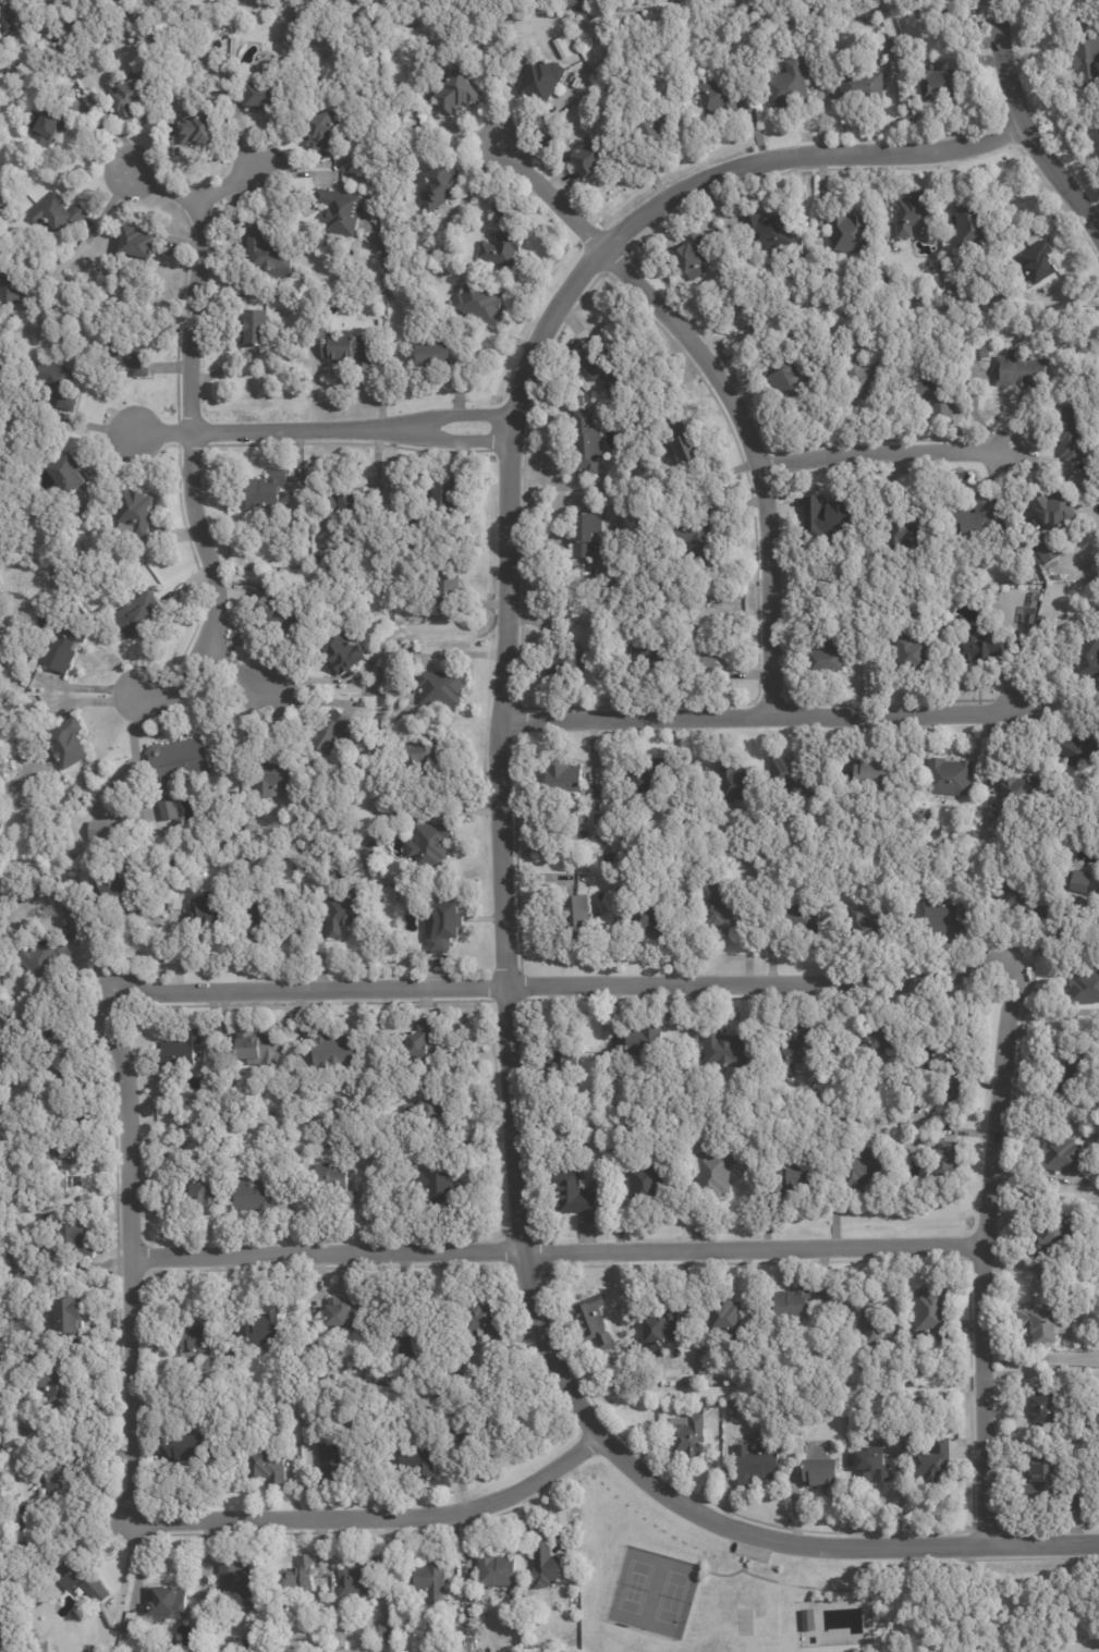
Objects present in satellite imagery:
building: (574, 1)
building: (1, 4)
building: (746, 4)
building: (1094, 19)
building: (3, 23)
building: (58, 38)
building: (563, 46)
building: (1086, 60)
building: (545, 79)
building: (941, 82)
building: (787, 85)
building: (865, 86)
building: (460, 91)
building: (719, 94)
building: (134, 96)
building: (267, 96)
building: (660, 123)
road: (1025, 124)
building: (50, 125)
building: (199, 127)
building: (1097, 131)
building: (325, 132)
building: (595, 158)
building: (439, 187)
road: (198, 193)
building: (341, 209)
building: (506, 210)
building: (913, 210)
building: (59, 211)
building: (977, 228)
building: (771, 229)
building: (852, 229)
building: (139, 241)
building: (503, 247)
building: (269, 253)
building: (696, 253)
building: (1038, 259)
building: (952, 284)
building: (11, 287)
building: (481, 301)
building: (712, 315)
building: (383, 322)
building: (256, 328)
building: (351, 348)
building: (986, 350)
building: (436, 354)
building: (136, 356)
building: (1025, 367)
building: (610, 370)
building: (865, 371)
building: (790, 376)
building: (60, 382)
road: (724, 384)
building: (1073, 391)
building: (939, 392)
building: (581, 399)
road: (322, 426)
building: (1074, 432)
road: (191, 438)
building: (586, 440)
building: (692, 444)
road: (896, 448)
building: (70, 470)
building: (266, 489)
building: (452, 491)
building: (353, 501)
building: (1059, 506)
building: (136, 511)
building: (828, 514)
building: (982, 517)
building: (380, 518)
building: (586, 533)
building: (901, 537)
building: (707, 542)
building: (1048, 549)
building: (317, 558)
building: (612, 576)
building: (448, 583)
building: (139, 611)
building: (280, 611)
building: (389, 616)
building: (986, 643)
building: (64, 646)
building: (914, 650)
building: (344, 651)
building: (833, 651)
building: (651, 652)
building: (559, 658)
building: (1092, 659)
building: (33, 662)
building: (713, 669)
building: (27, 680)
road: (208, 680)
building: (441, 685)
road: (895, 709)
road: (636, 712)
building: (333, 731)
building: (69, 741)
building: (1080, 747)
building: (426, 754)
building: (786, 766)
building: (179, 767)
building: (878, 771)
building: (277, 773)
building: (654, 775)
building: (952, 775)
building: (569, 776)
building: (87, 780)
building: (300, 780)
building: (737, 780)
building: (1023, 786)
building: (713, 799)
building: (108, 830)
building: (975, 834)
building: (432, 842)
building: (623, 856)
building: (611, 857)
road: (502, 874)
building: (1083, 880)
building: (391, 893)
building: (1035, 896)
building: (115, 897)
building: (724, 906)
building: (264, 909)
building: (346, 910)
building: (208, 914)
building: (807, 915)
building: (583, 916)
building: (949, 918)
building: (652, 919)
building: (445, 923)
building: (876, 928)
building: (40, 955)
road: (544, 980)
building: (1085, 987)
road: (1053, 1009)
building: (27, 1023)
building: (1096, 1027)
building: (10, 1033)
building: (878, 1036)
building: (648, 1040)
building: (420, 1043)
building: (337, 1047)
building: (728, 1047)
building: (801, 1047)
building: (183, 1048)
building: (261, 1049)
building: (0, 1053)
building: (950, 1055)
building: (565, 1060)
building: (1080, 1074)
building: (437, 1108)
building: (907, 1117)
building: (75, 1149)
building: (1062, 1154)
building: (944, 1160)
building: (865, 1167)
building: (713, 1171)
building: (790, 1174)
building: (334, 1180)
building: (647, 1186)
building: (441, 1189)
building: (205, 1191)
building: (573, 1192)
building: (254, 1197)
building: (70, 1234)
building: (1049, 1239)
road: (554, 1245)
road: (981, 1247)
road: (129, 1258)
building: (793, 1300)
building: (932, 1309)
building: (66, 1314)
building: (344, 1314)
building: (483, 1317)
building: (725, 1317)
building: (867, 1317)
building: (591, 1322)
building: (1039, 1323)
building: (1062, 1323)
building: (266, 1327)
building: (658, 1334)
building: (196, 1338)
building: (407, 1343)
building: (1051, 1345)
building: (694, 1378)
building: (381, 1379)
building: (56, 1386)
building: (715, 1403)
building: (1042, 1408)
building: (731, 1410)
building: (29, 1429)
building: (492, 1432)
building: (689, 1436)
building: (185, 1444)
building: (418, 1460)
building: (933, 1460)
building: (332, 1461)
building: (267, 1465)
building: (756, 1465)
building: (872, 1465)
building: (820, 1471)
building: (61, 1473)
building: (1048, 1480)
building: (1076, 1500)
road: (380, 1512)
building: (21, 1537)
building: (550, 1566)
building: (496, 1568)
building: (80, 1575)
building: (302, 1575)
building: (237, 1577)
building: (392, 1577)
building: (359, 1578)
building: (429, 1578)
building: (166, 1602)
building: (809, 1618)
building: (383, 1629)
building: (251, 1644)

